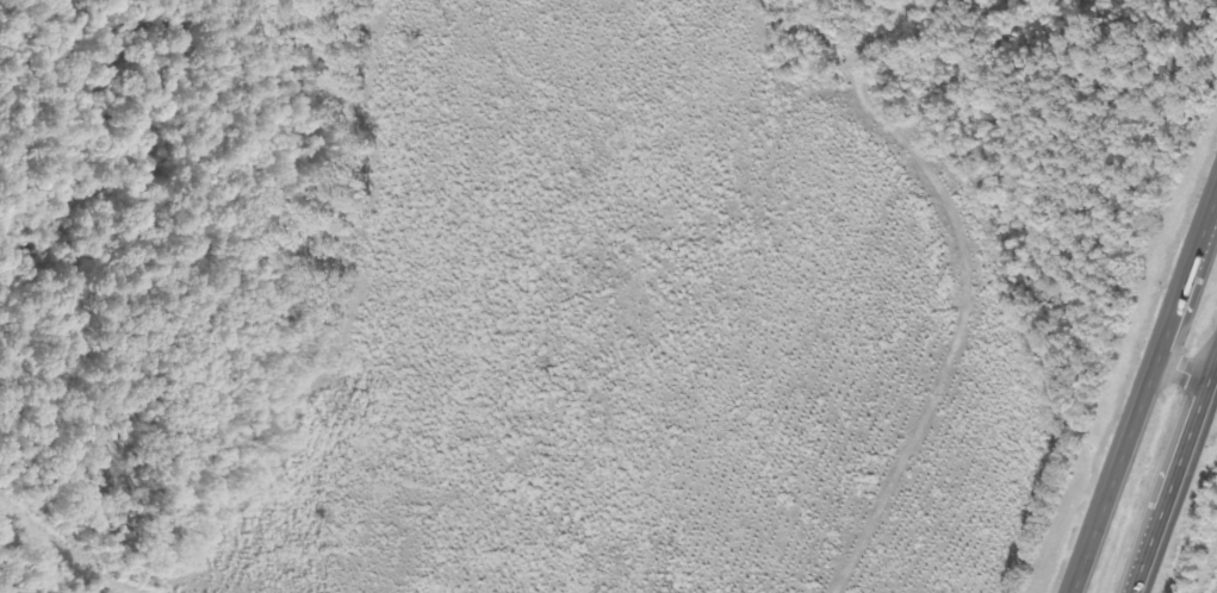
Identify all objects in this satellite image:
road: (1181, 366)
road: (1212, 376)
road: (1142, 391)
road: (1173, 470)

